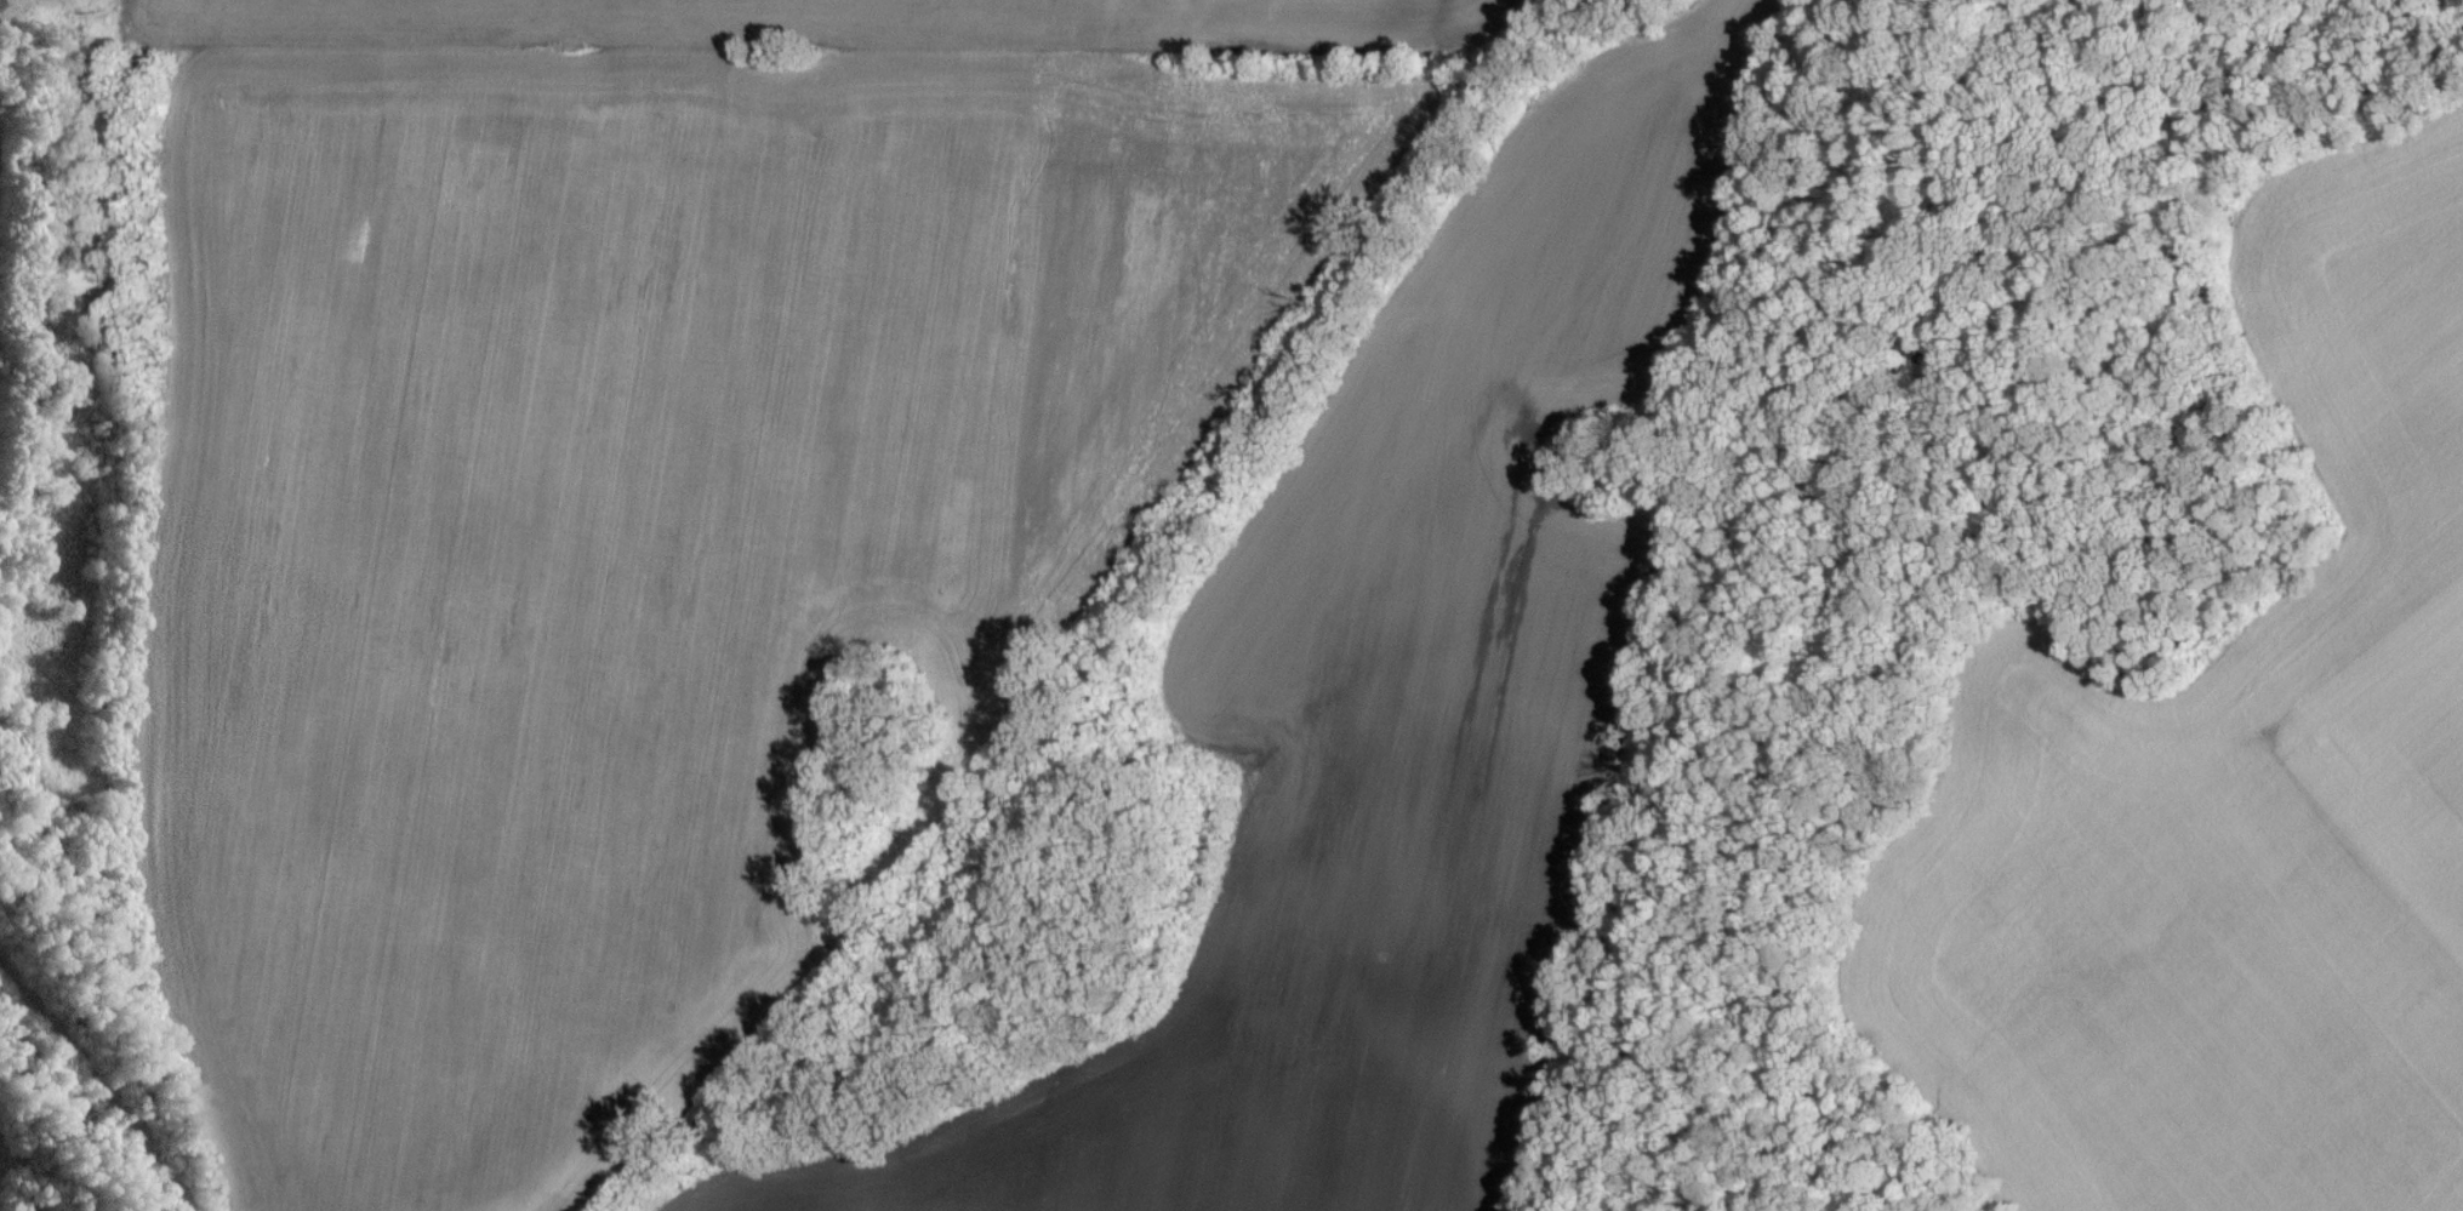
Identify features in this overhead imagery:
road: (2462, 0)
road: (2142, 15)

